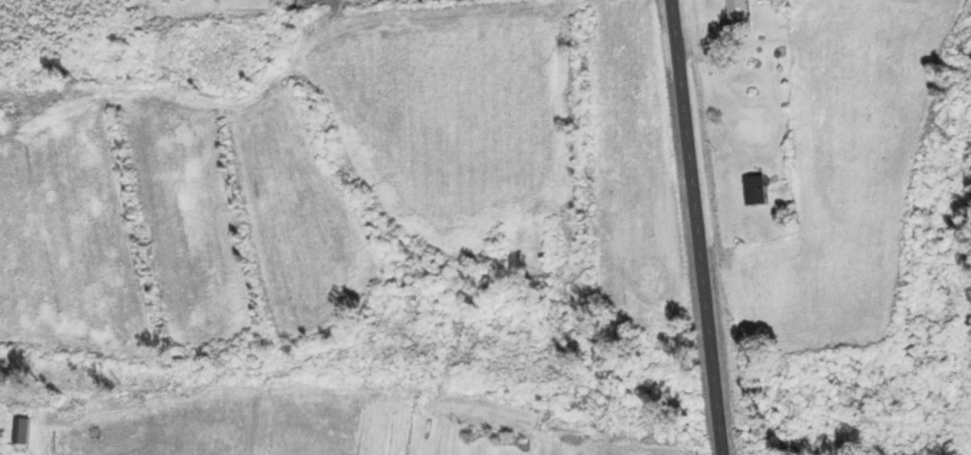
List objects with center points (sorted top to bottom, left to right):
building: (735, 16)
building: (753, 128)
building: (752, 188)
road: (698, 227)

